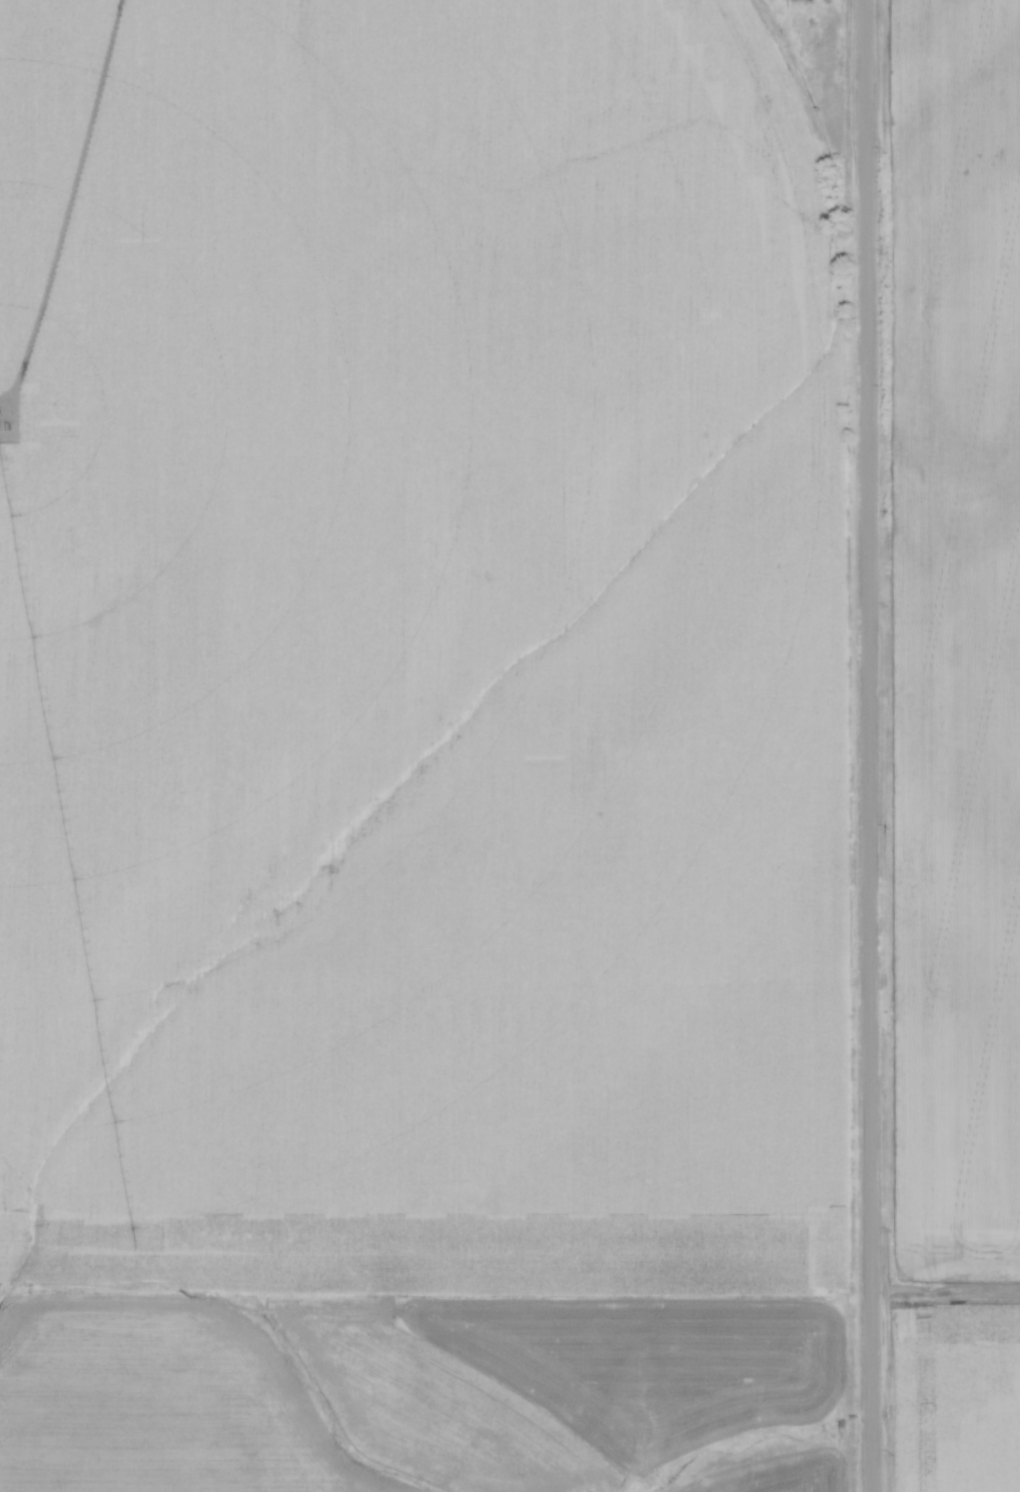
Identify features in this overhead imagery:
road: (865, 745)

